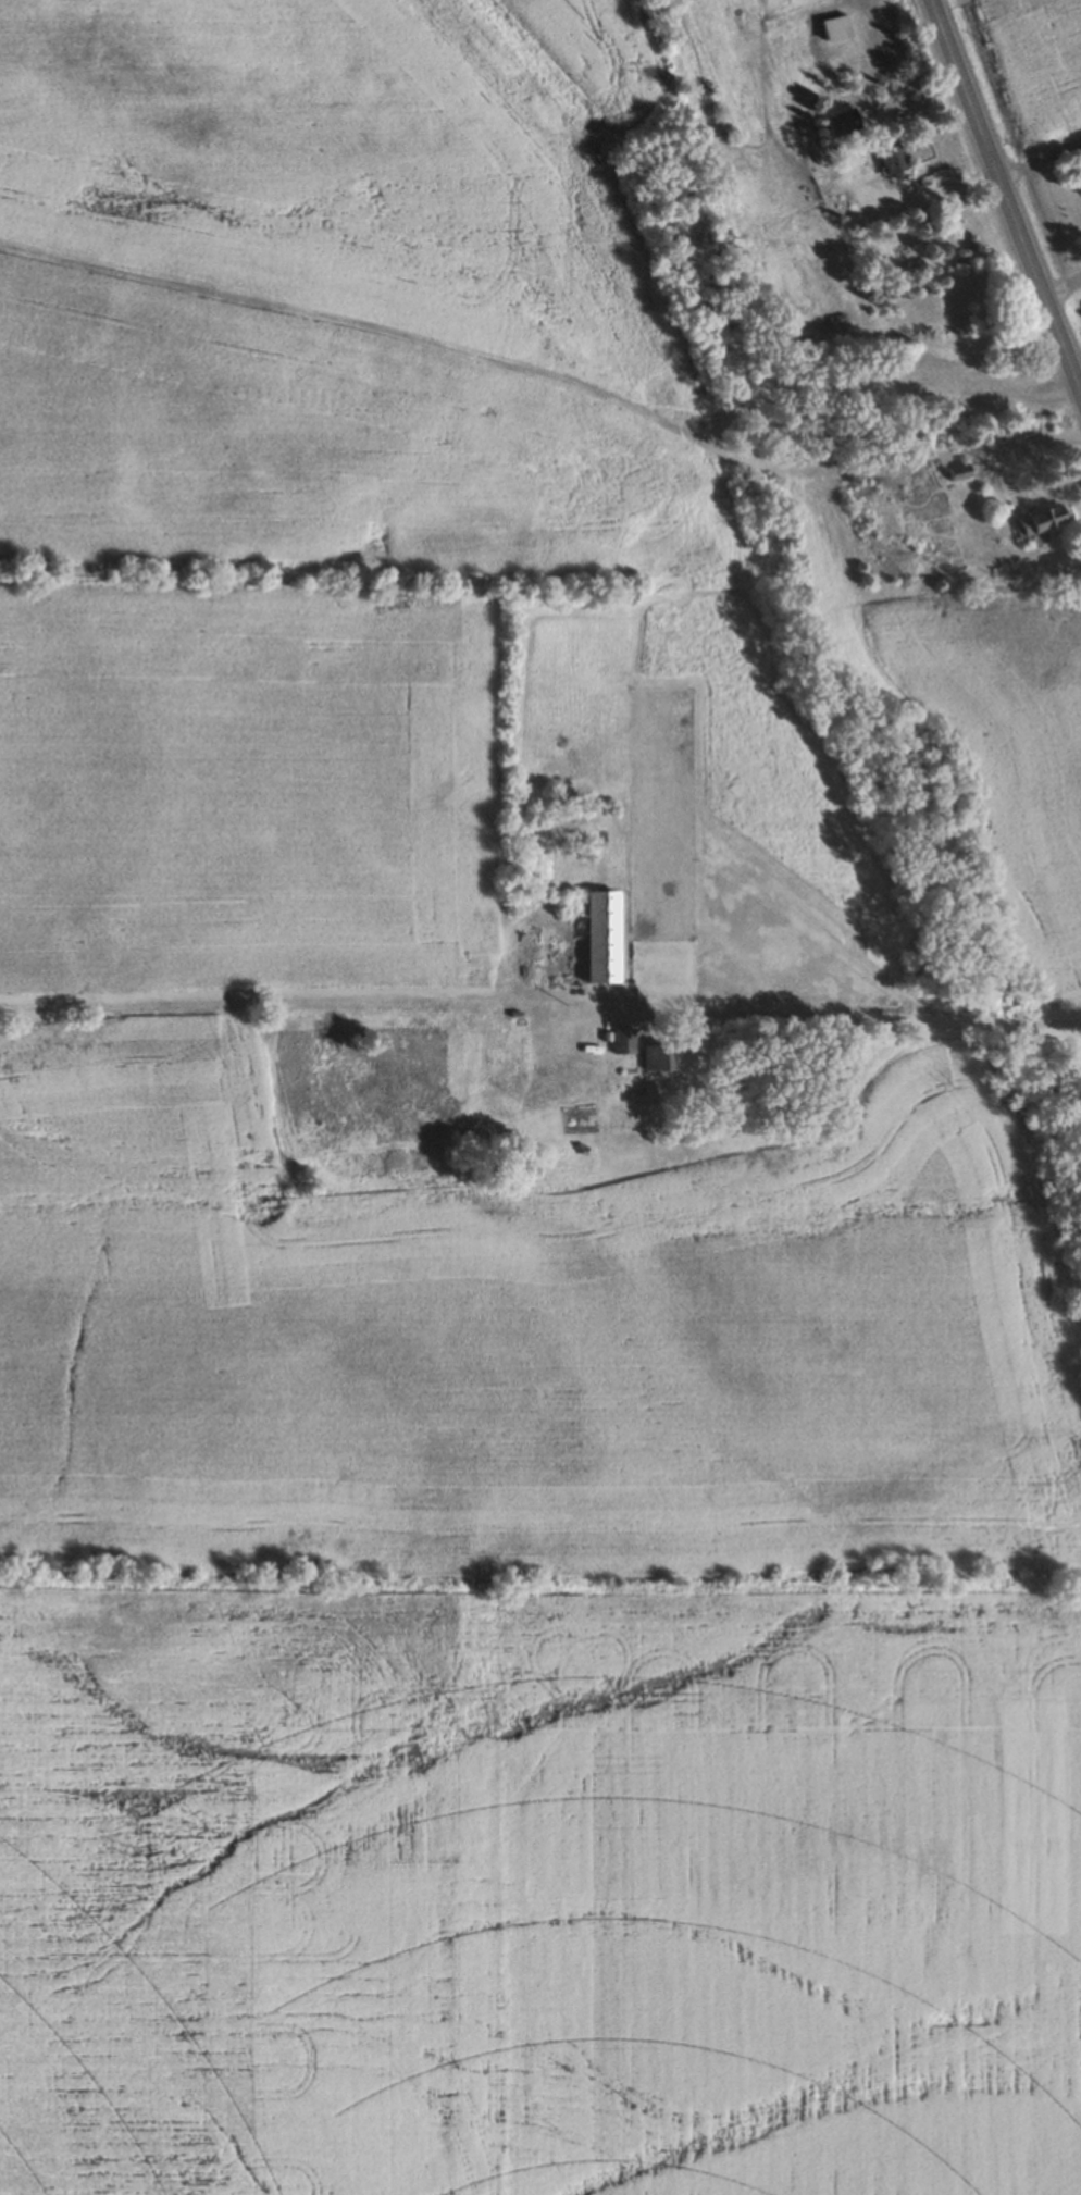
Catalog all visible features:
building: (834, 27)
building: (841, 121)
road: (1036, 151)
building: (892, 160)
road: (1004, 200)
road: (1060, 281)
building: (957, 471)
building: (1040, 517)
building: (601, 935)
road: (860, 1016)
building: (621, 1039)
building: (654, 1057)

